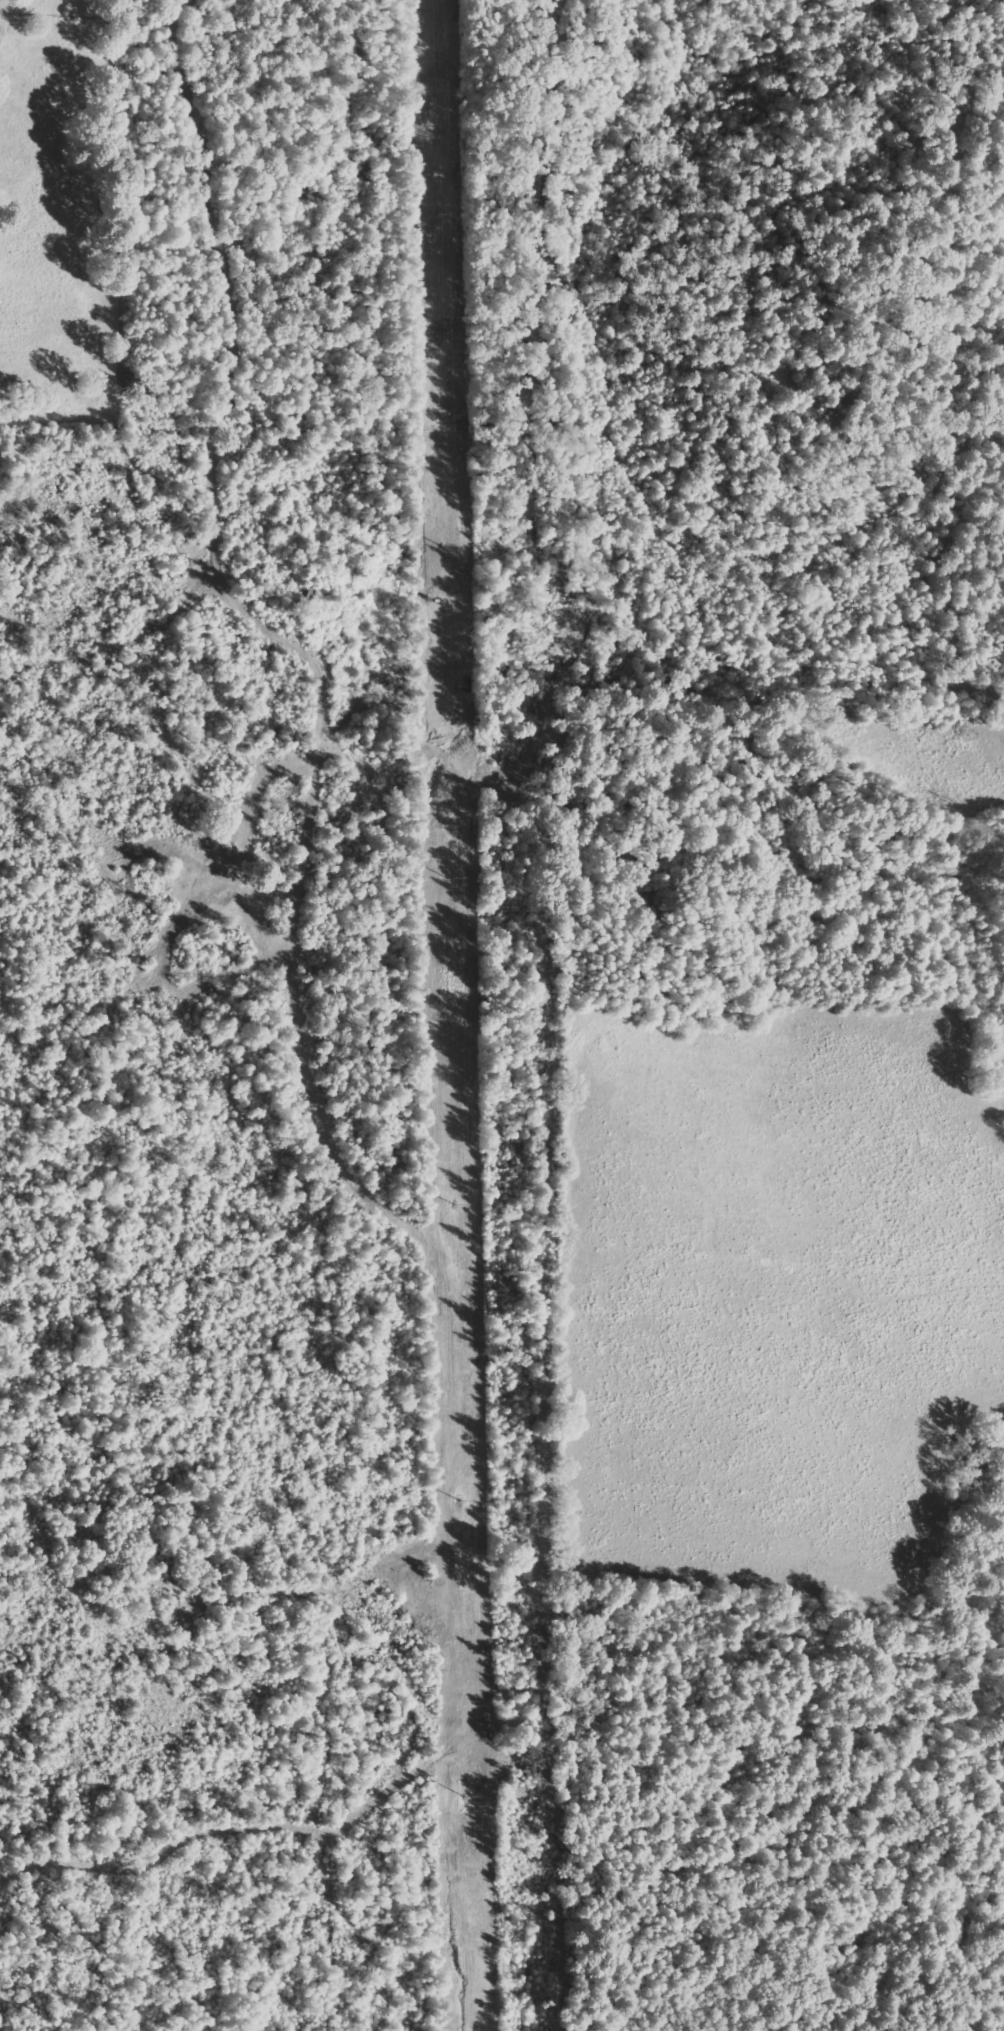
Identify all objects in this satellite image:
road: (162, 473)

